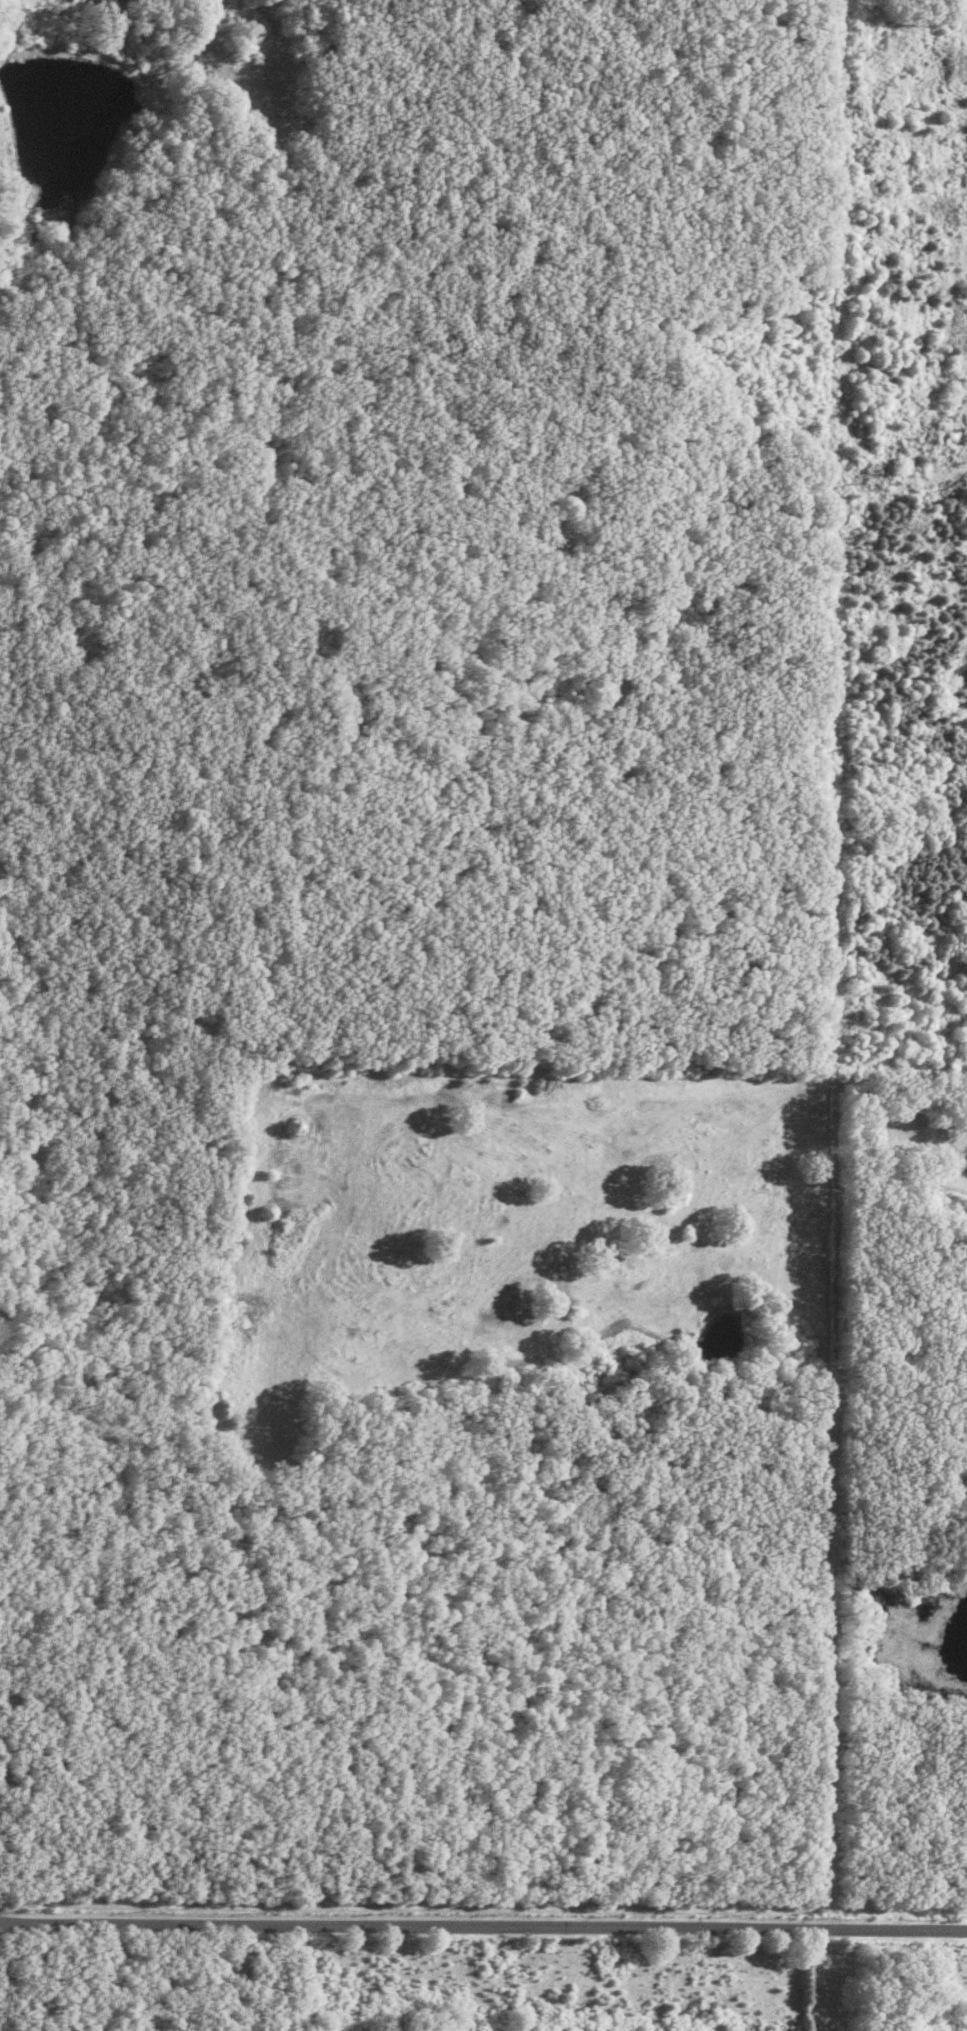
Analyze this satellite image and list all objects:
road: (483, 1928)

